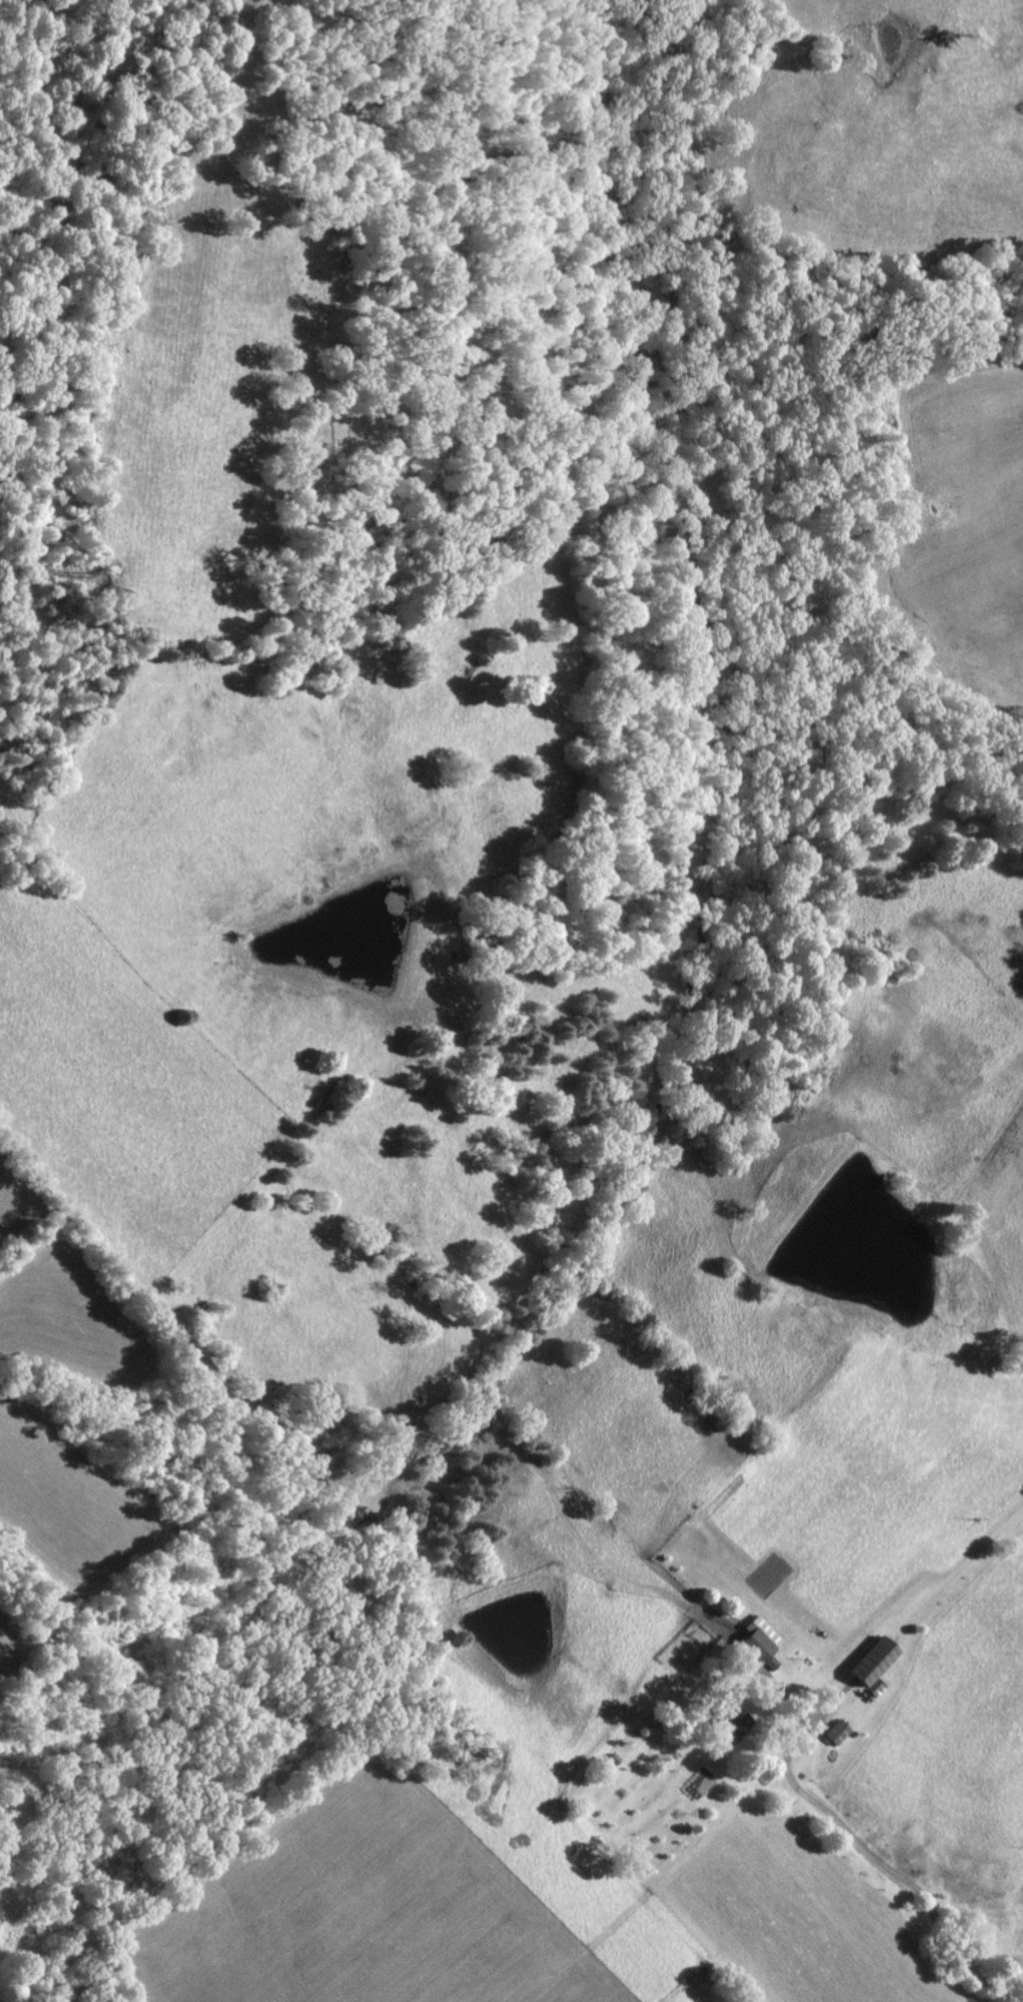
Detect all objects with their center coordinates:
park: (769, 1575)
building: (760, 1637)
building: (875, 1661)
building: (734, 1720)
building: (838, 1729)
road: (866, 1847)

